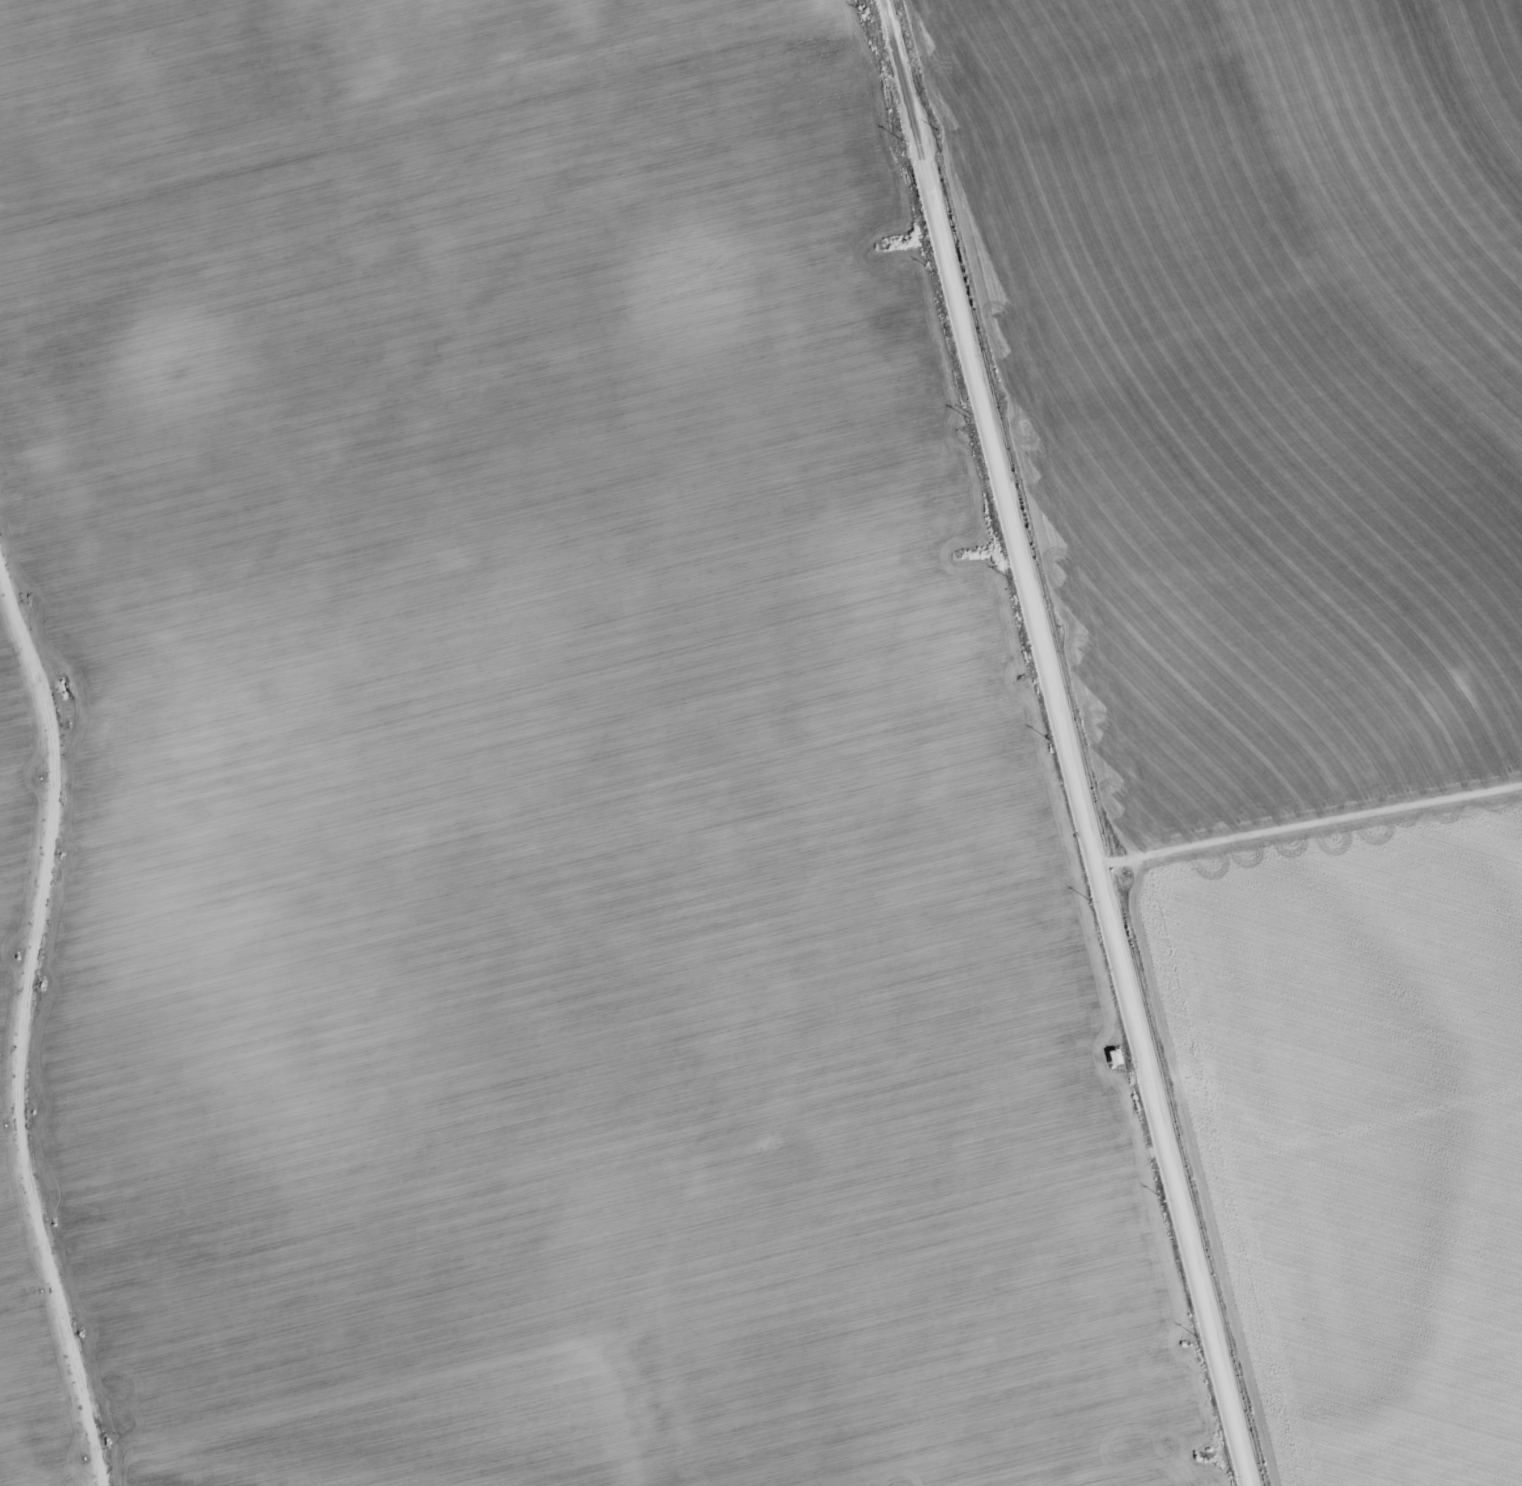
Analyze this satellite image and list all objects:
road: (1062, 743)

